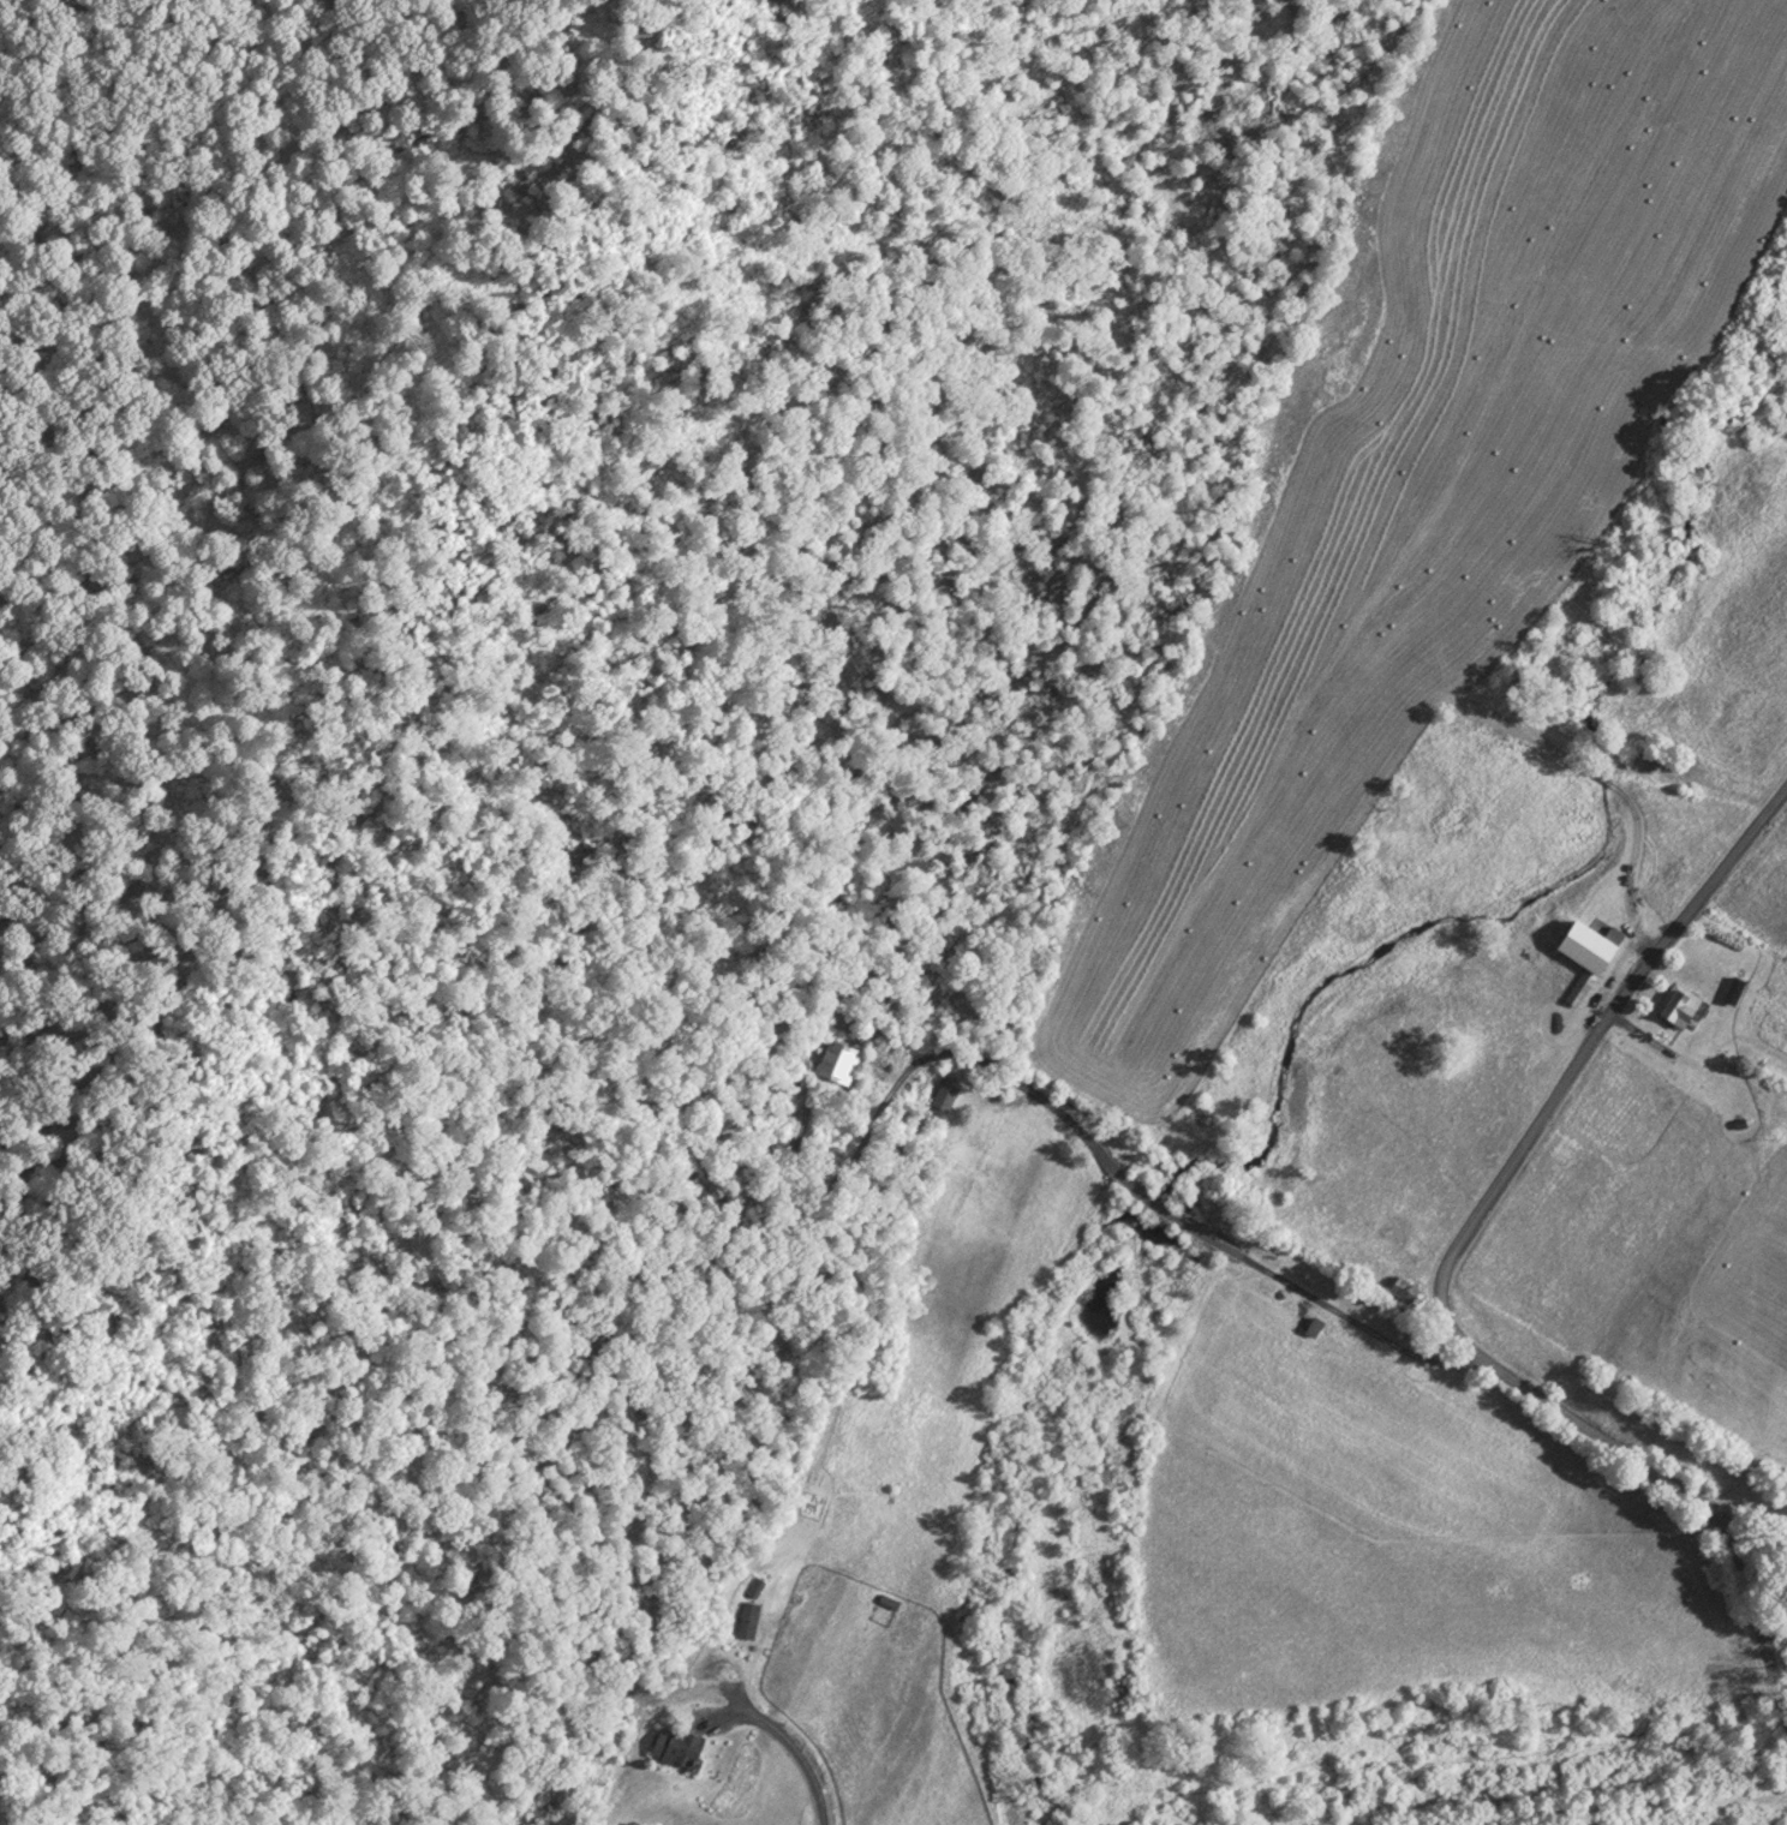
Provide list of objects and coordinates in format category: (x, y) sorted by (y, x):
building: (1589, 956)
building: (1683, 1000)
building: (839, 1059)
building: (948, 1091)
road: (1178, 1219)
road: (1451, 1271)
building: (1408, 1286)
building: (758, 1584)
building: (891, 1598)
building: (749, 1616)
building: (682, 1745)
road: (794, 1746)

